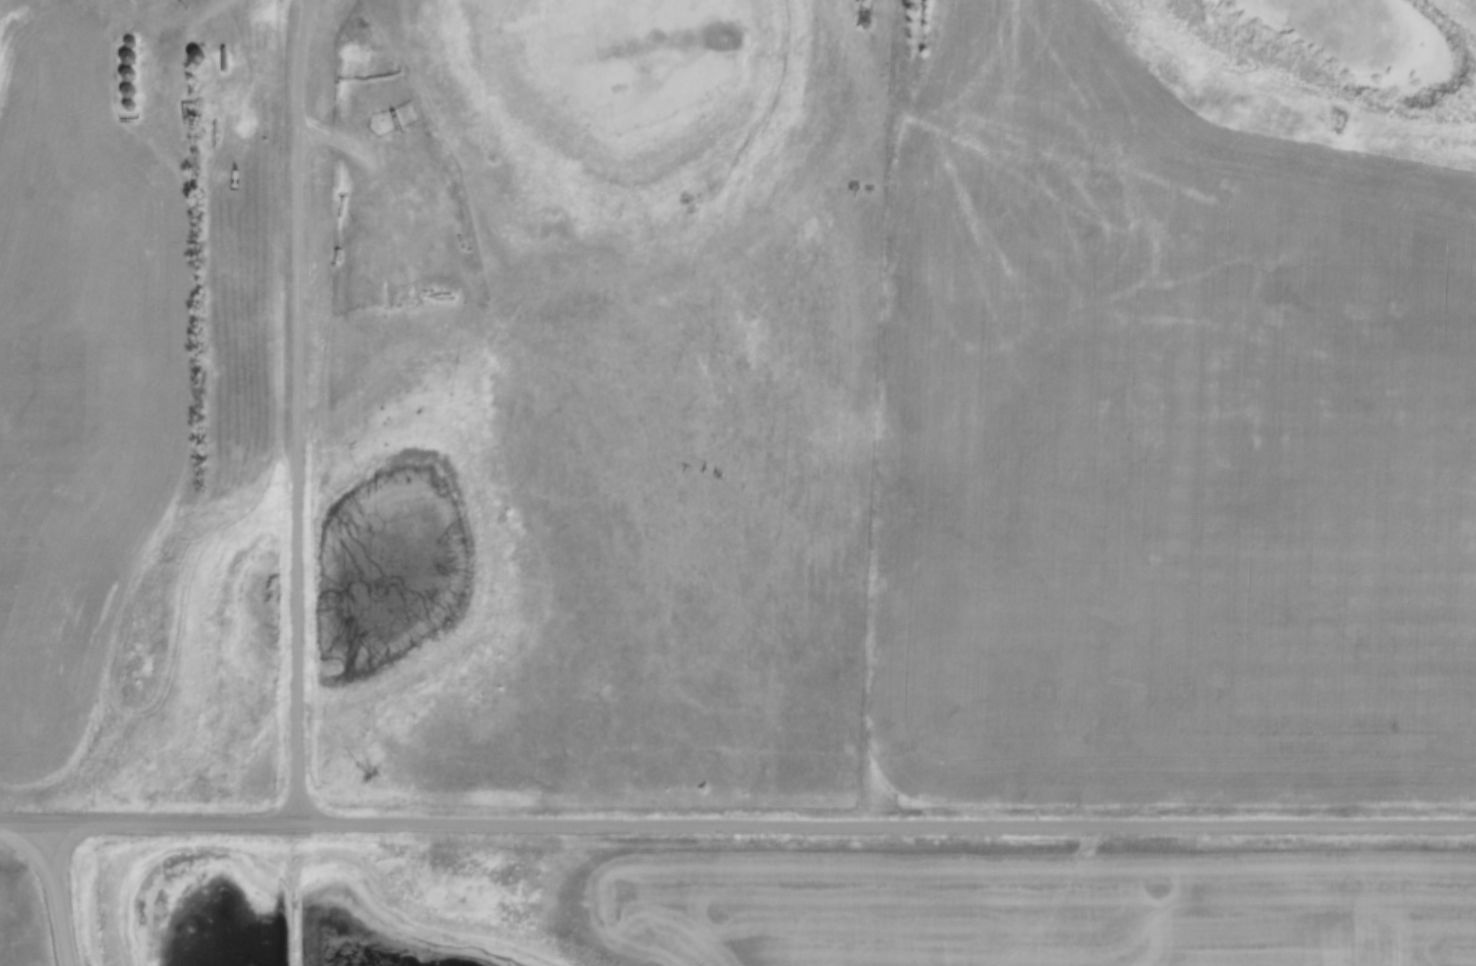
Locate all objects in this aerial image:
road: (302, 3)
road: (303, 3)
building: (194, 55)
road: (387, 186)
road: (298, 416)
road: (738, 828)
road: (61, 896)

